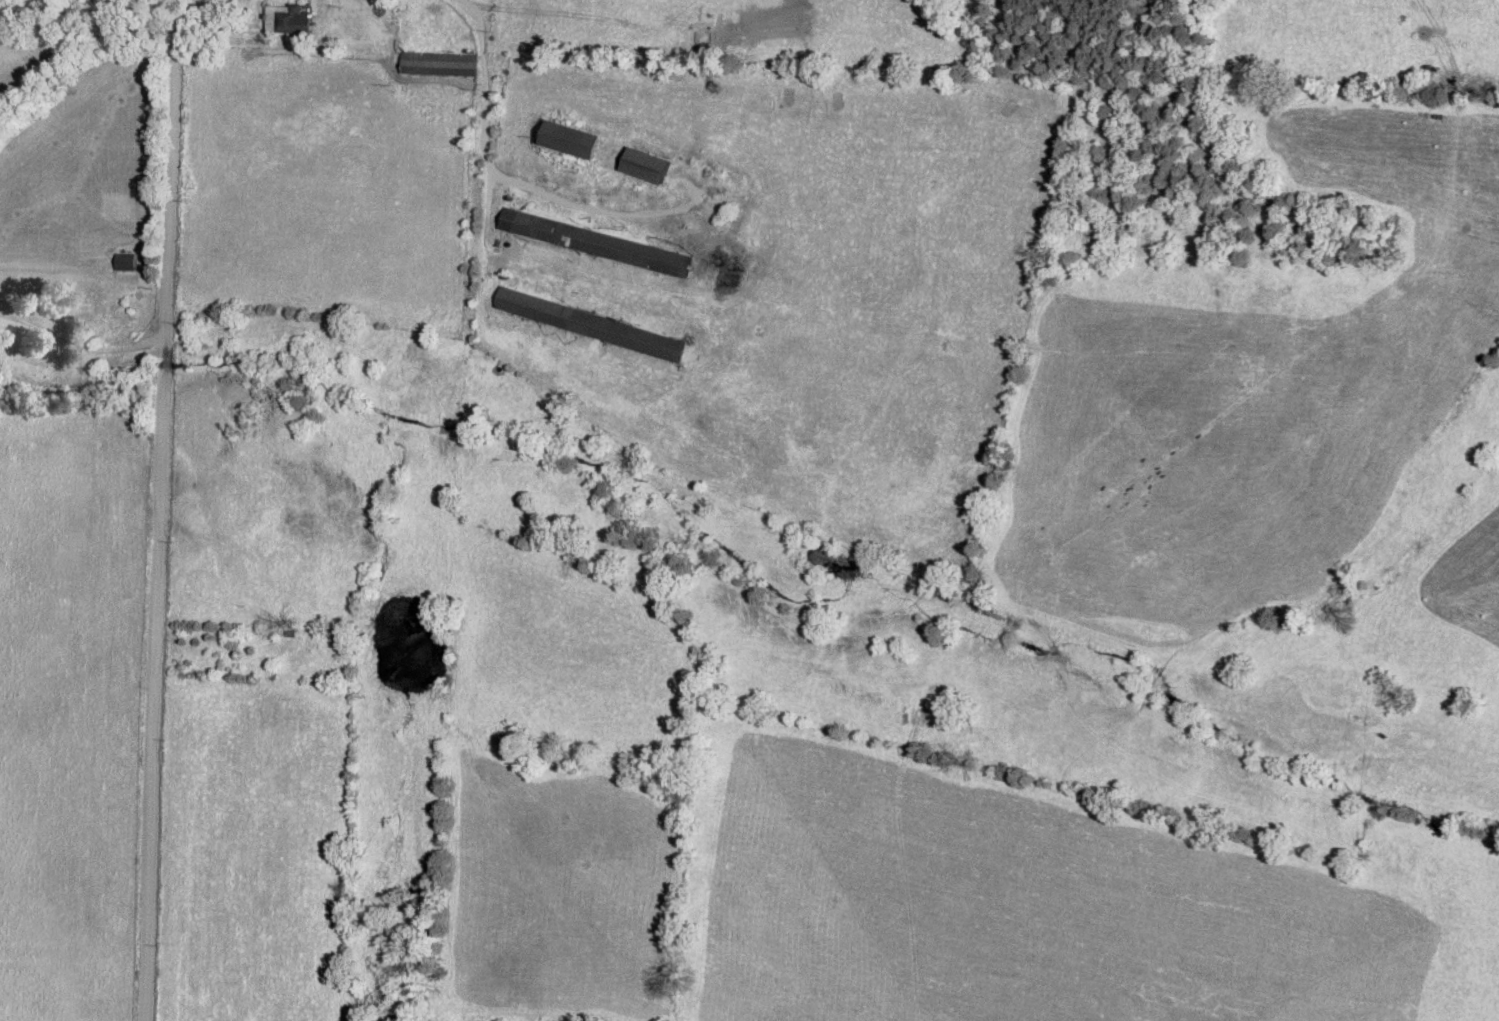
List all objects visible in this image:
building: (437, 64)
building: (572, 139)
building: (646, 165)
building: (588, 324)
road: (176, 499)

